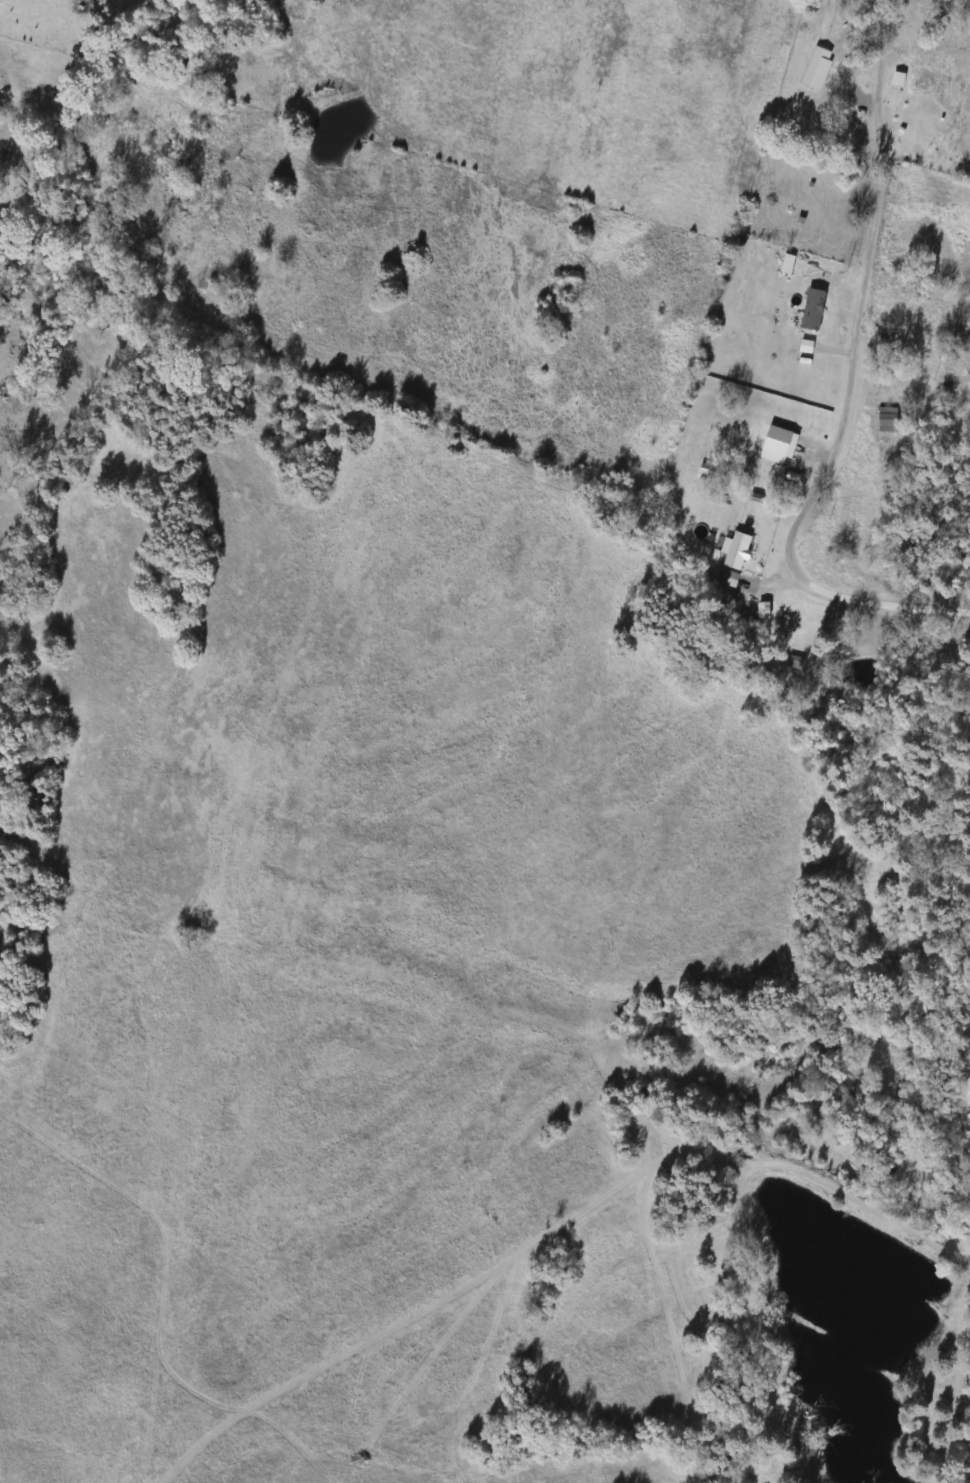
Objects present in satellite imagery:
road: (881, 34)
building: (815, 68)
building: (899, 82)
building: (815, 219)
road: (844, 418)
building: (887, 419)
building: (706, 447)
building: (738, 564)
building: (765, 610)
building: (902, 1048)
building: (966, 1132)

